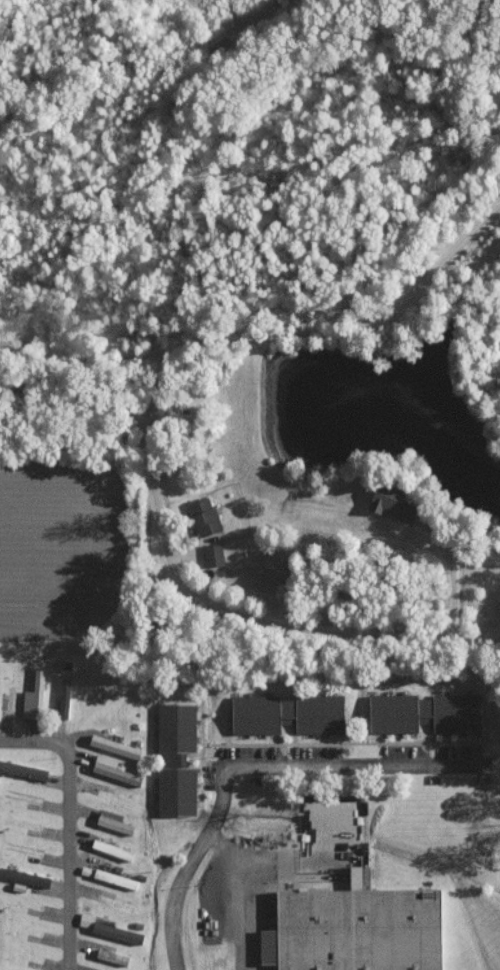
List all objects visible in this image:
road: (245, 332)
building: (386, 503)
building: (200, 516)
building: (211, 555)
road: (268, 624)
building: (31, 697)
building: (62, 698)
building: (422, 713)
building: (281, 714)
building: (112, 746)
parking lot: (458, 751)
parking lot: (404, 752)
parking lot: (317, 753)
parking lot: (250, 754)
building: (174, 760)
road: (239, 769)
building: (112, 770)
parking lot: (211, 777)
building: (117, 821)
road: (67, 823)
building: (120, 851)
building: (26, 877)
building: (121, 879)
road: (247, 894)
building: (112, 930)
building: (359, 930)

